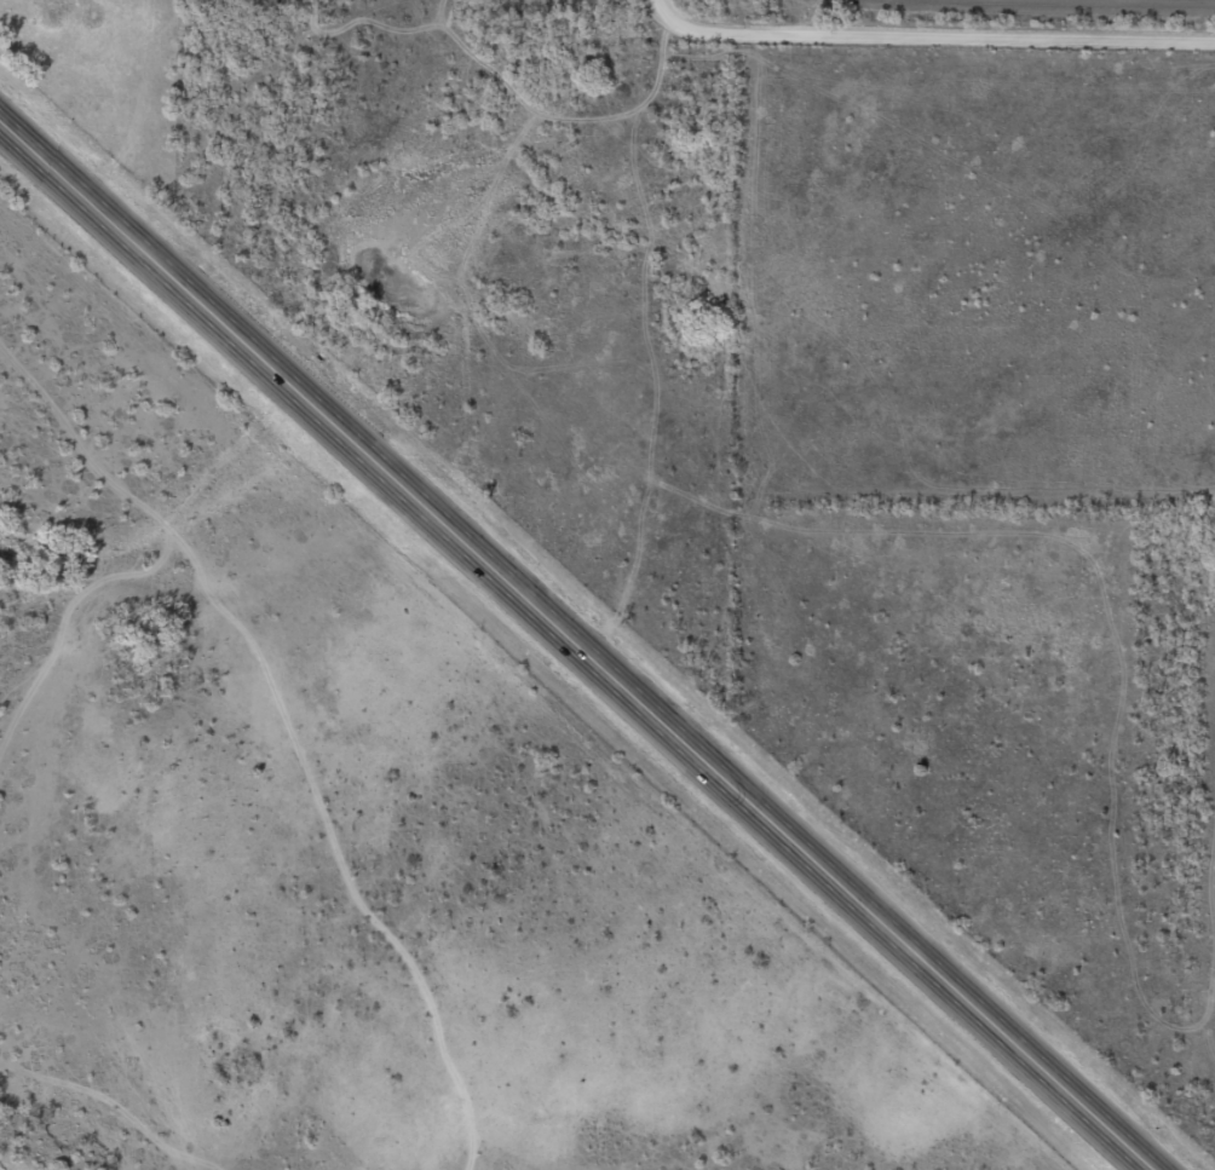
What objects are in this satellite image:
road: (967, 27)
road: (581, 649)

